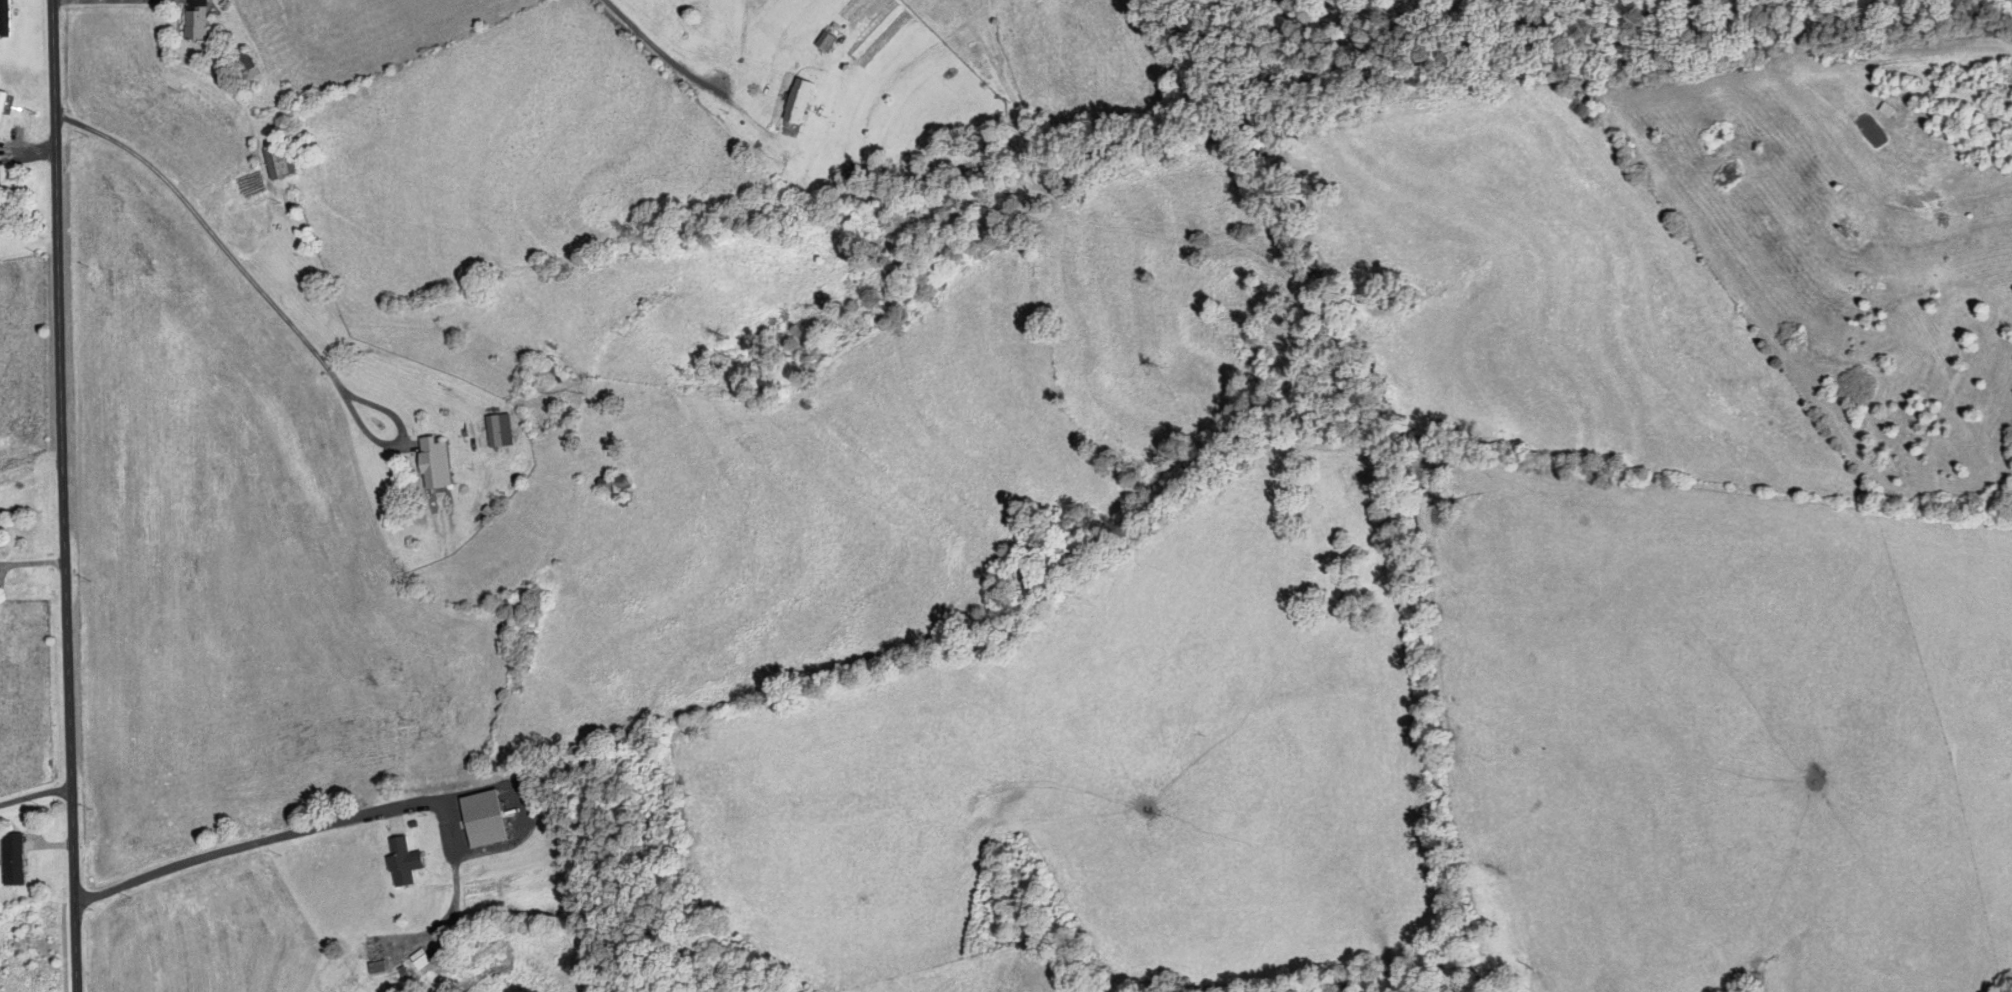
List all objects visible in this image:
road: (2007, 6)
building: (5, 18)
building: (197, 19)
building: (826, 41)
road: (680, 51)
building: (246, 65)
building: (799, 100)
building: (2, 102)
building: (280, 162)
road: (266, 296)
building: (547, 369)
building: (499, 427)
building: (436, 463)
building: (614, 483)
road: (62, 495)
road: (1966, 631)
road: (34, 792)
road: (245, 844)
building: (13, 859)
building: (404, 861)
building: (377, 967)

